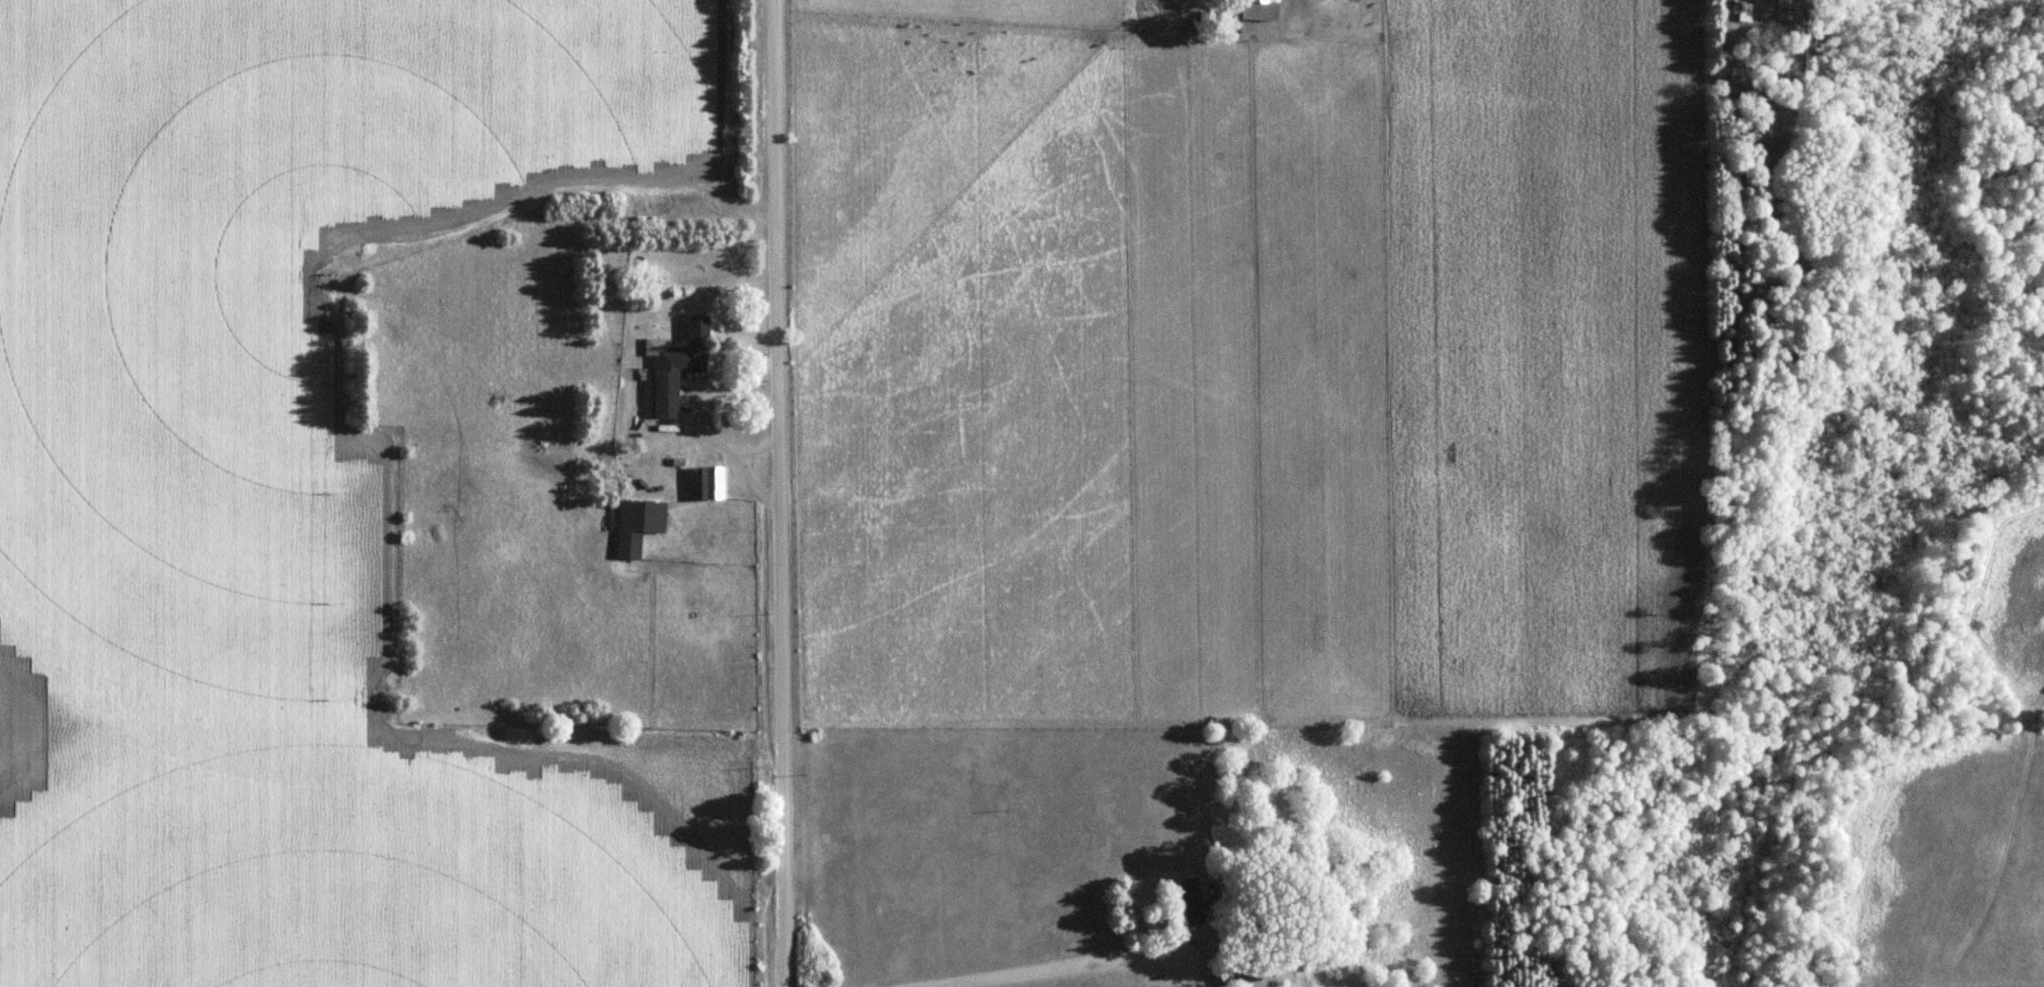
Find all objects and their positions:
building: (1261, 10)
building: (678, 366)
building: (712, 484)
road: (776, 493)
building: (637, 526)
building: (1192, 900)
road: (1039, 966)

